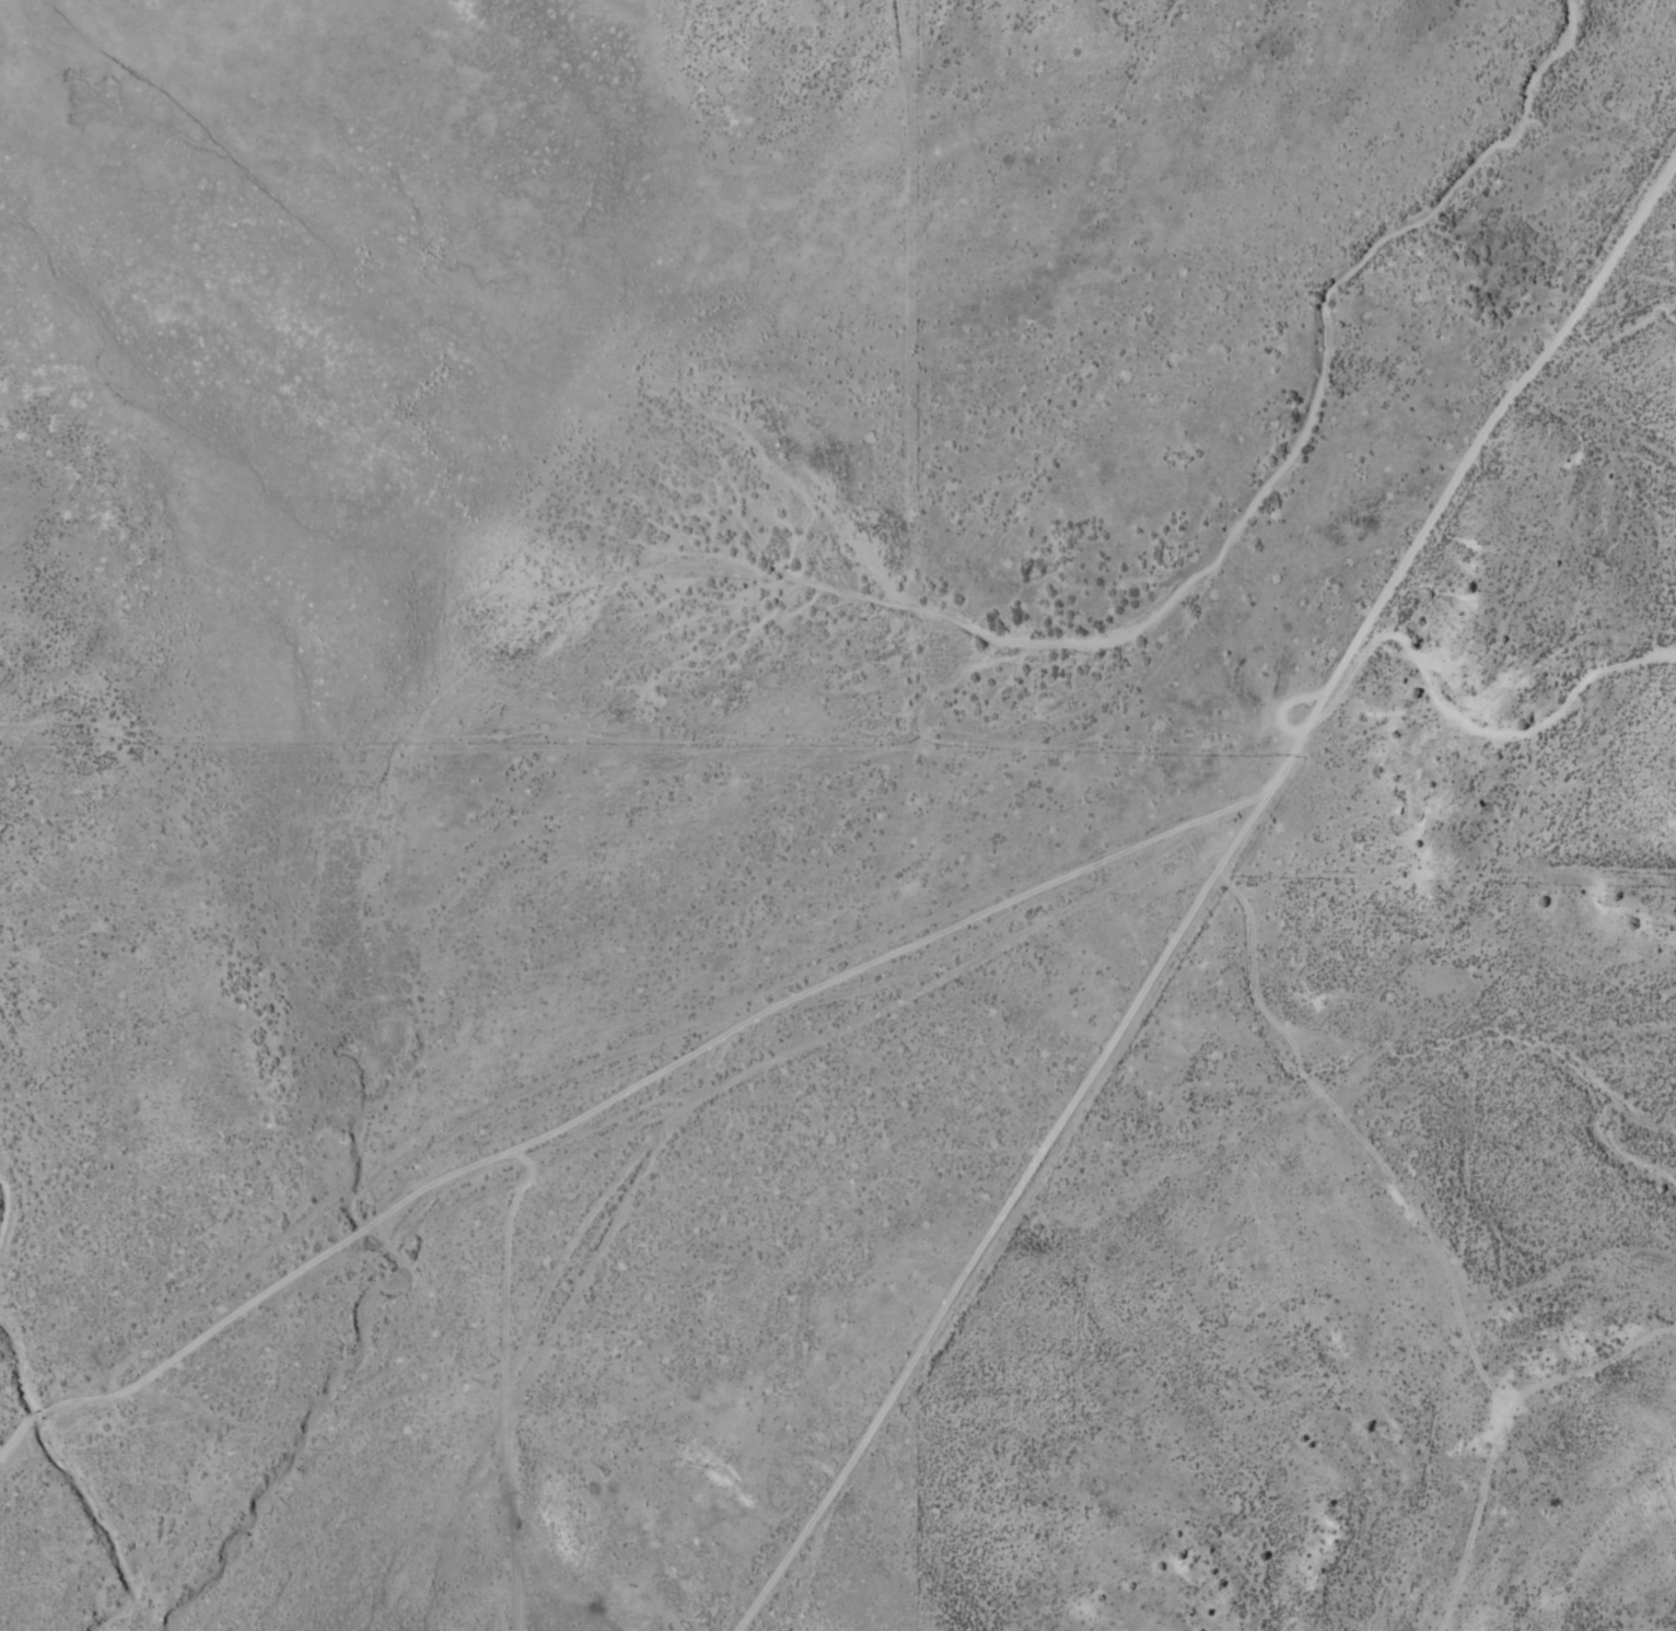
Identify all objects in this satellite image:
road: (1551, 341)
road: (1028, 888)
road: (1085, 1093)
road: (382, 1216)

